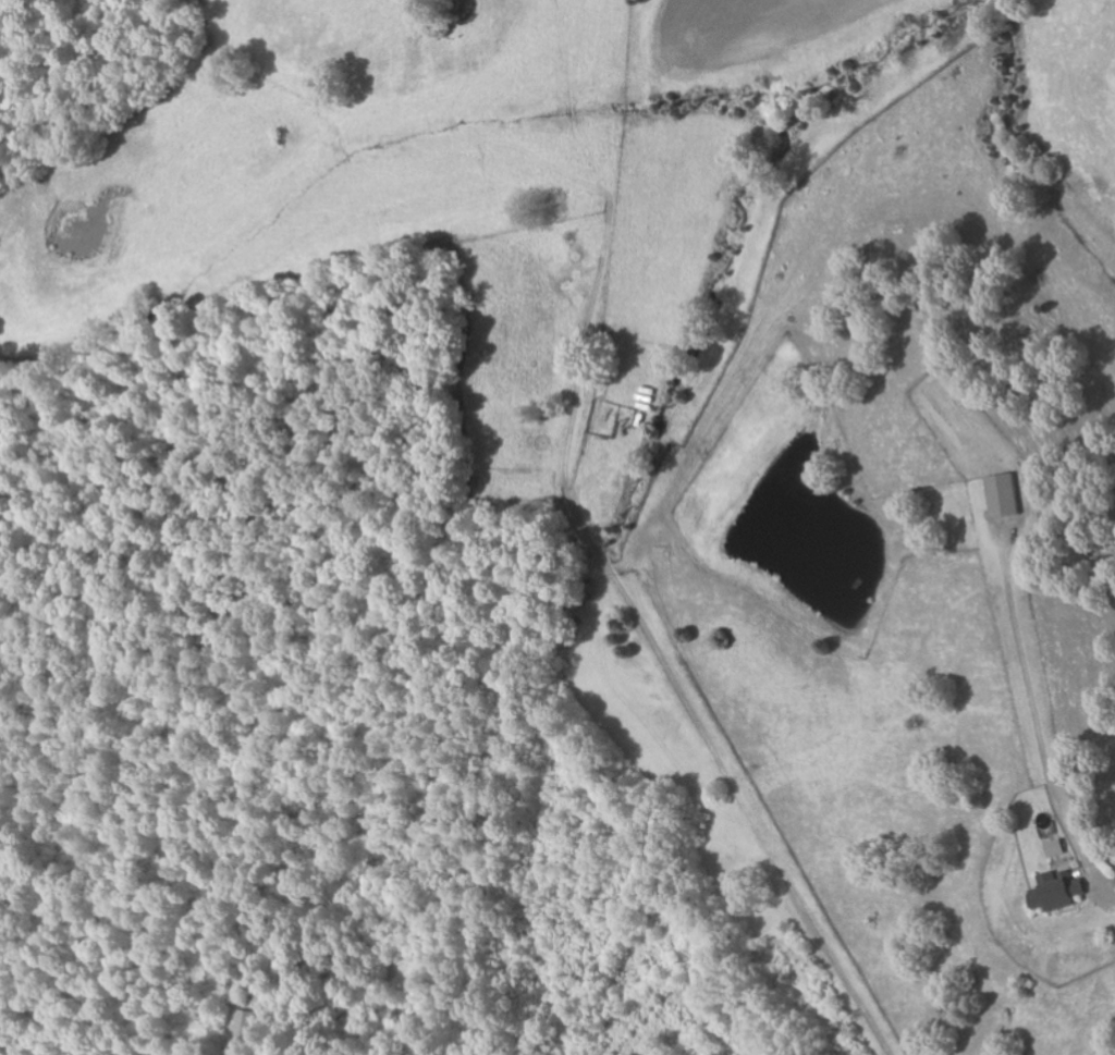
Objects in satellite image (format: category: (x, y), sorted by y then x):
building: (1006, 496)
road: (753, 821)
building: (1059, 848)
building: (1059, 890)

